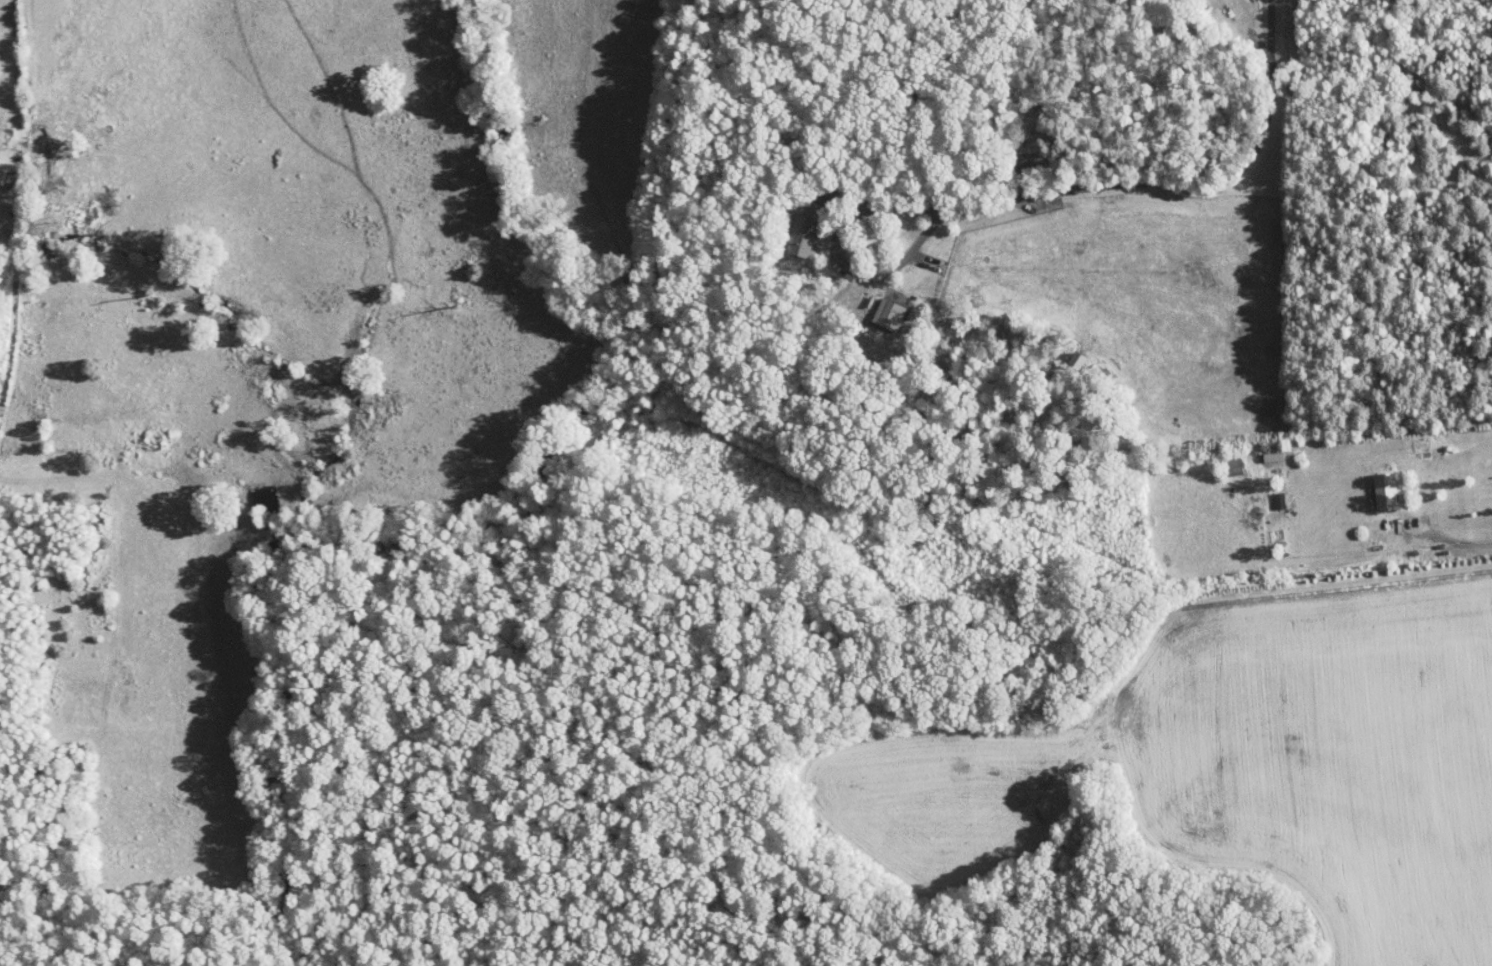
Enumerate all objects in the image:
road: (1181, 185)
building: (791, 224)
road: (840, 257)
building: (1064, 351)
building: (1373, 484)
road: (1397, 548)

